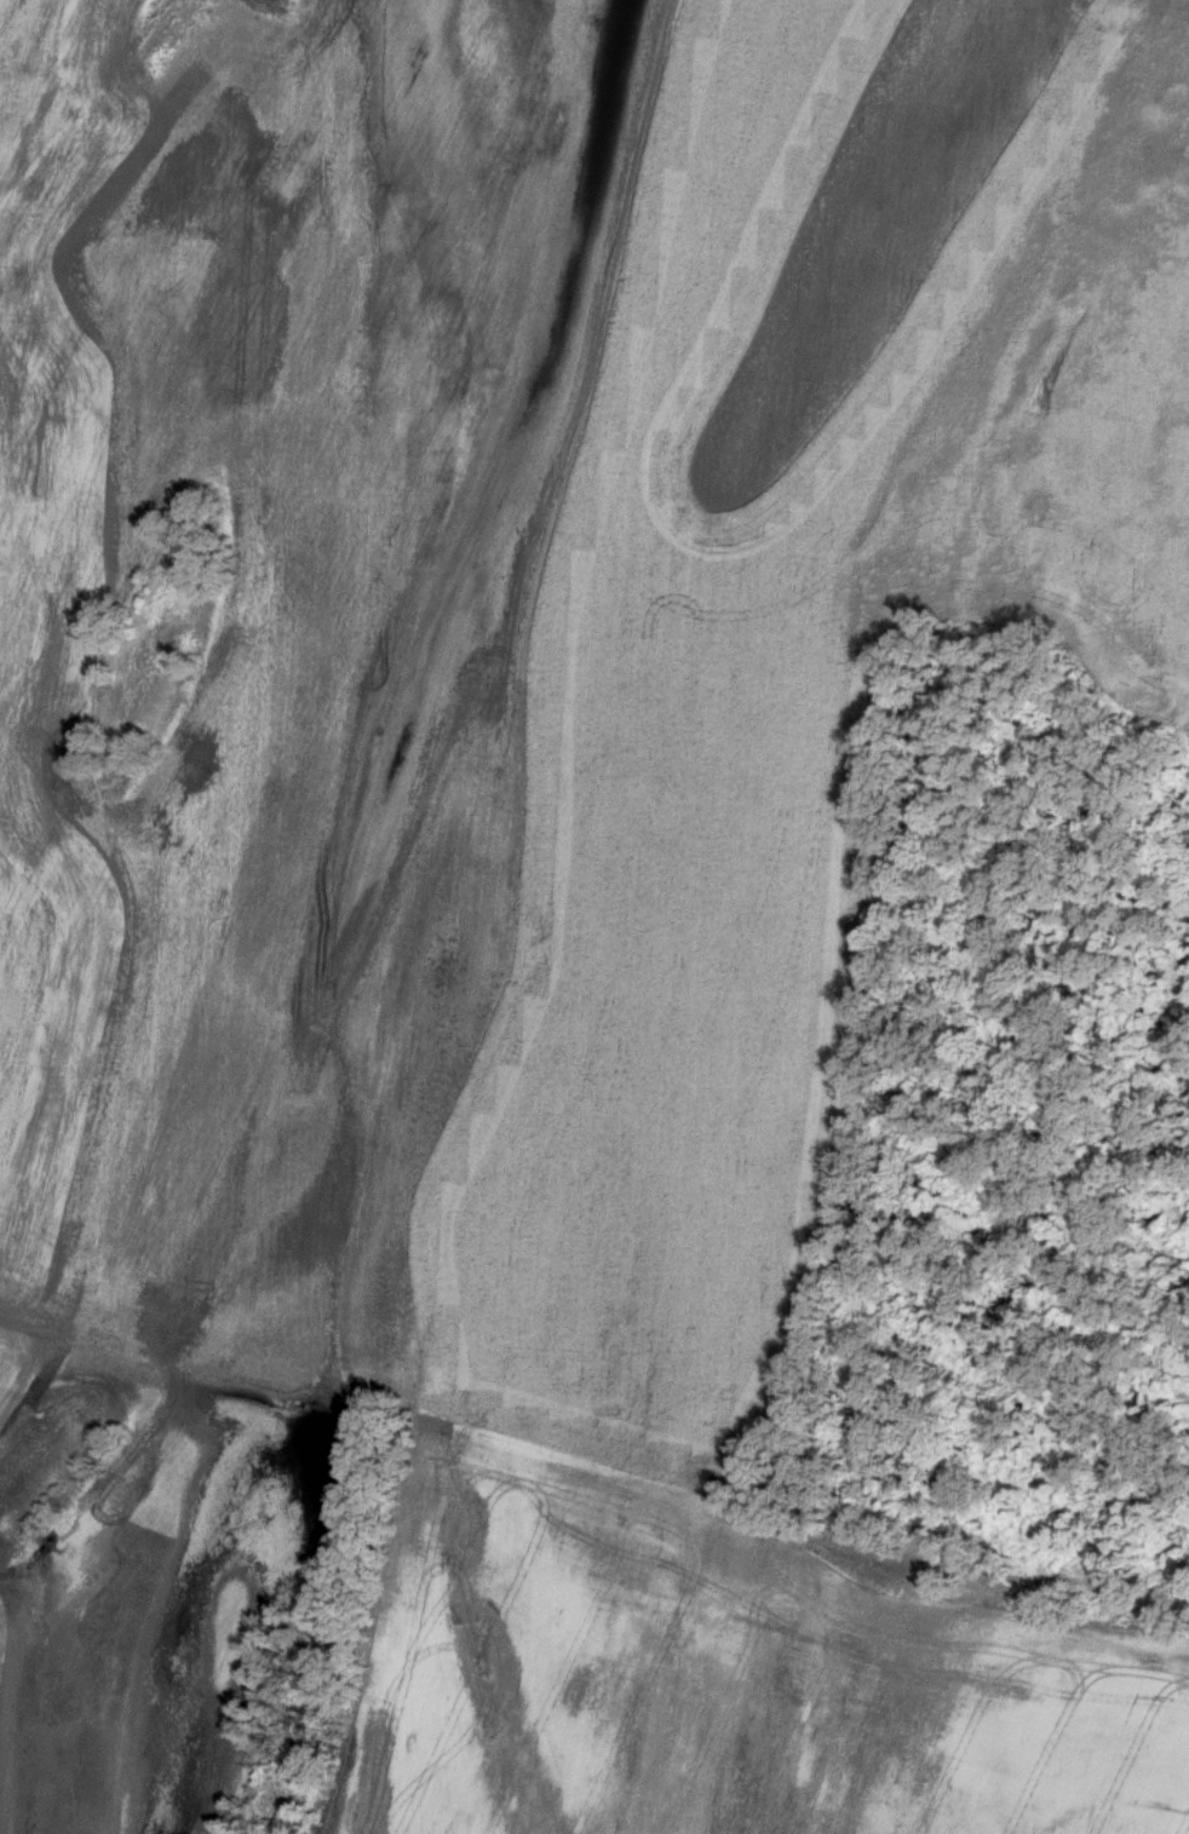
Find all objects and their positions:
crop: (523, 870)
road: (17, 1369)

